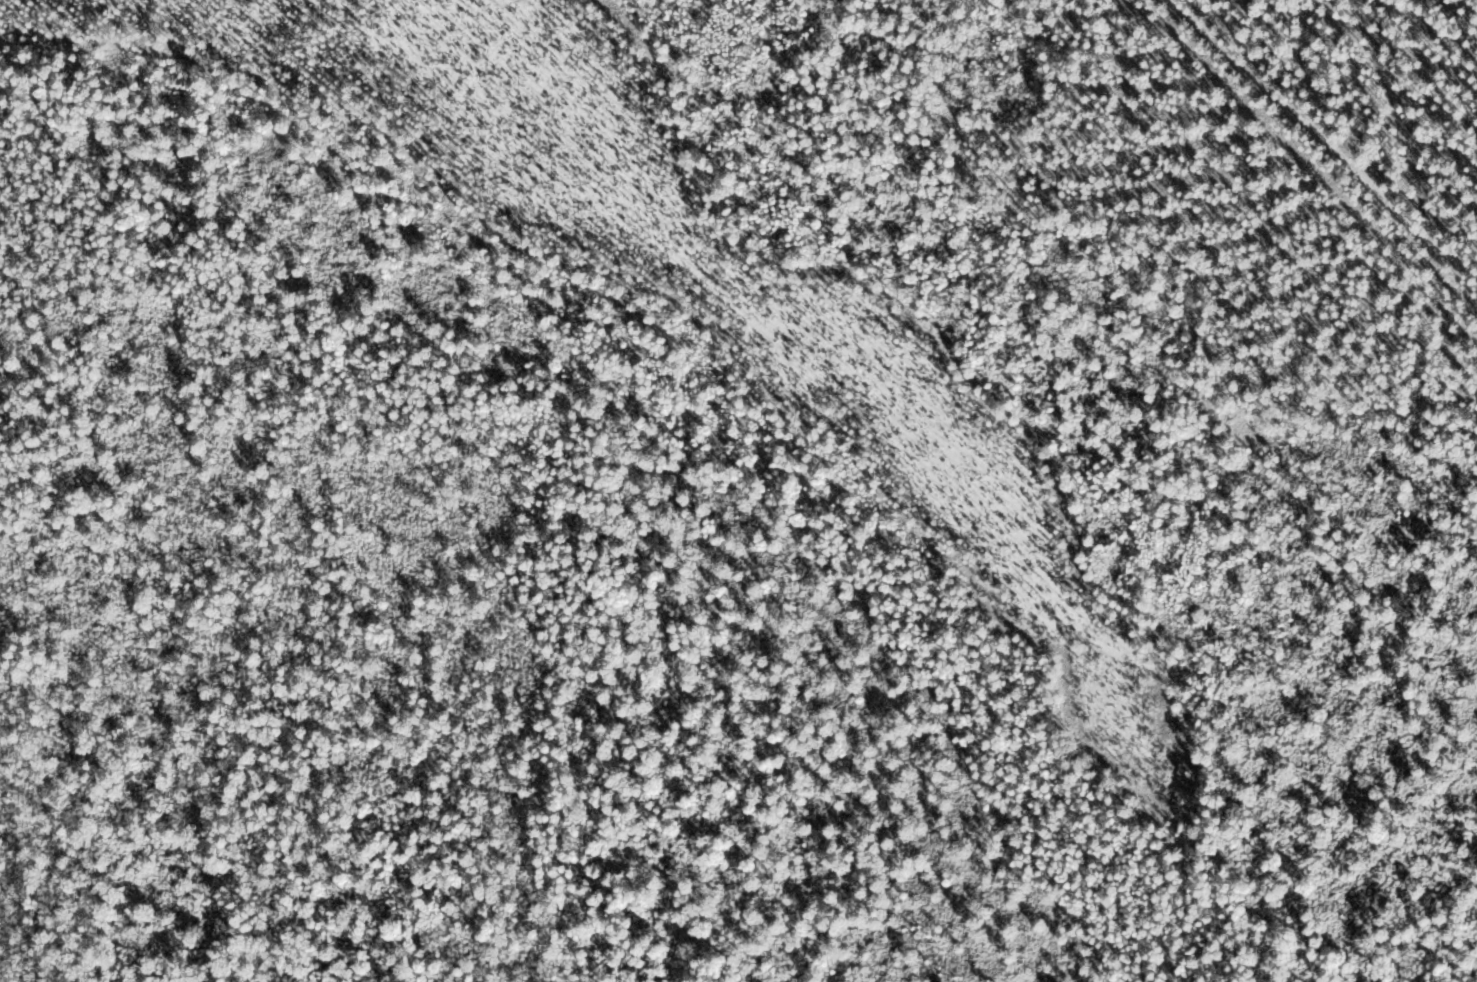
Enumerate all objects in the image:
road: (1328, 91)

